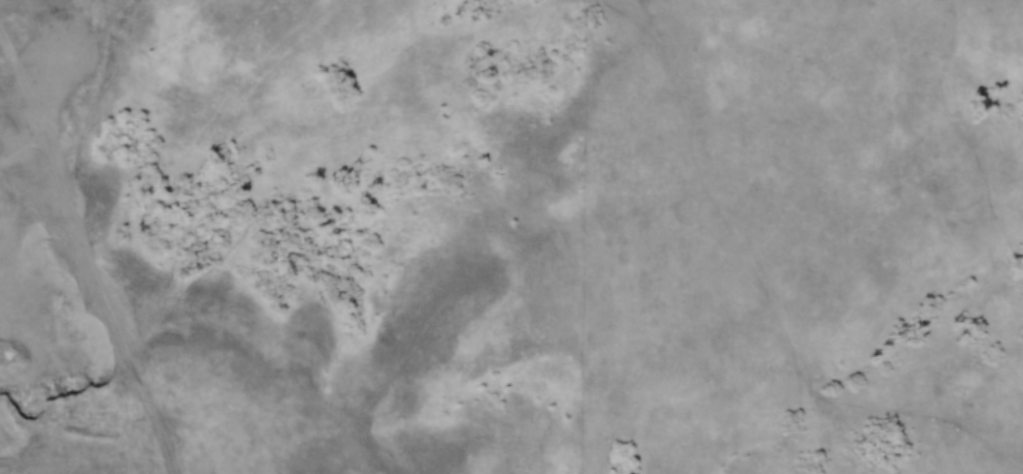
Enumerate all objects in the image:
quarry: (49, 203)
road: (70, 225)
road: (116, 379)

